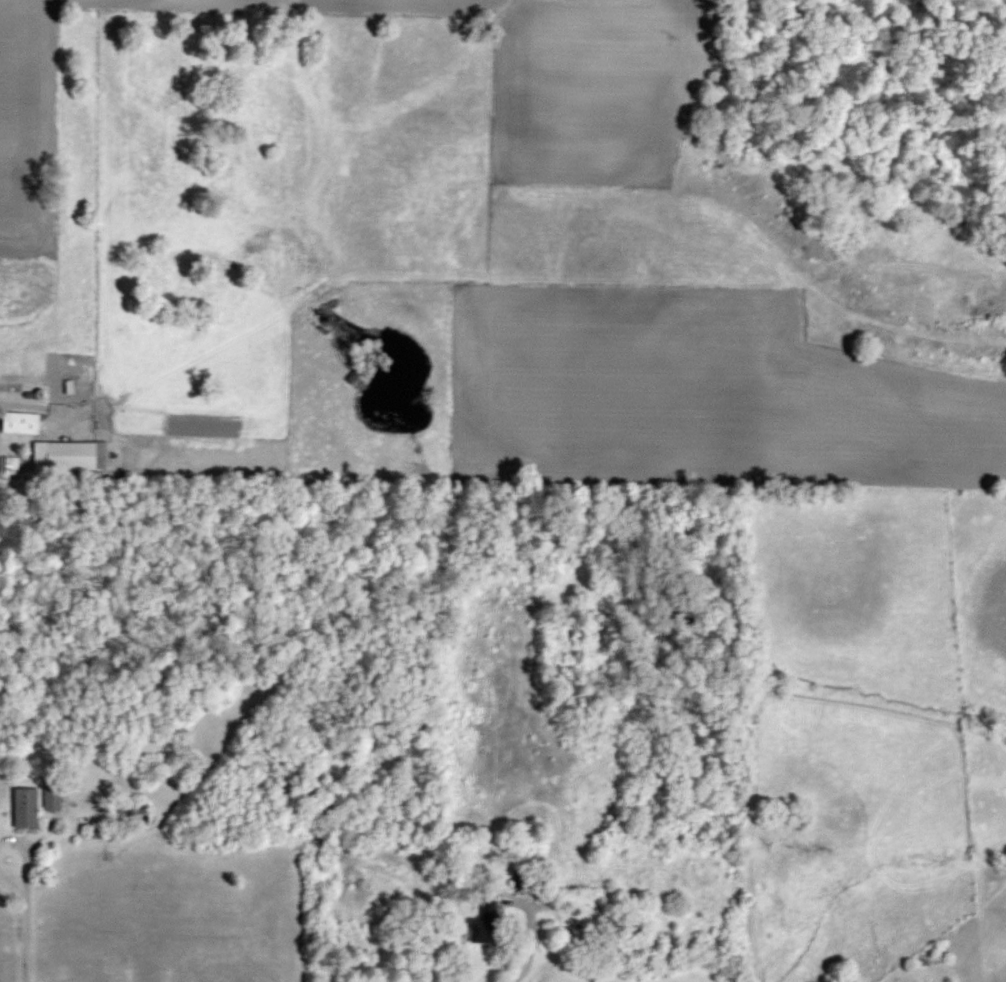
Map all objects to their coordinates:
building: (19, 422)
building: (70, 456)
building: (8, 465)
building: (51, 798)
building: (24, 808)
building: (129, 814)
building: (531, 885)
road: (26, 915)
building: (483, 921)
building: (618, 925)
road: (529, 946)

